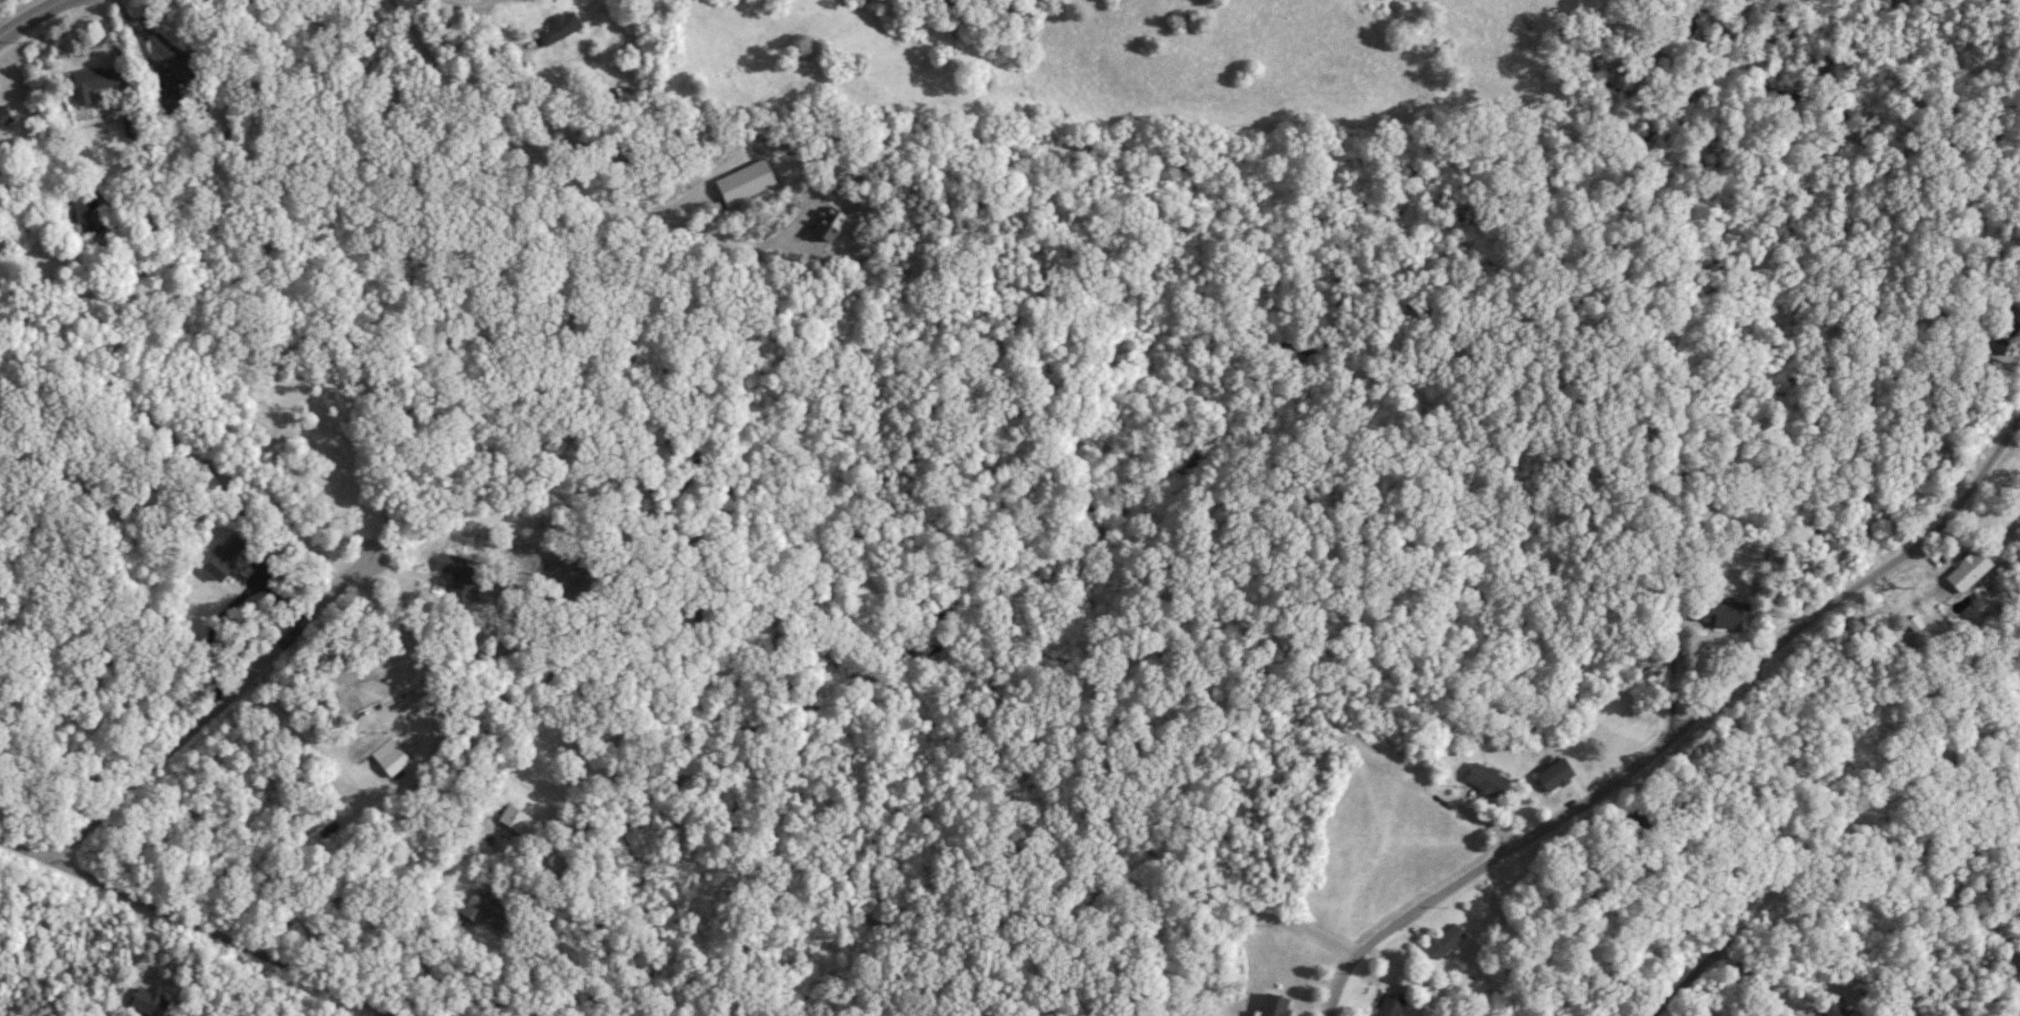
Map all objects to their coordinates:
road: (28, 15)
road: (106, 18)
road: (4, 20)
building: (560, 21)
road: (144, 40)
building: (186, 60)
building: (95, 77)
building: (174, 100)
building: (4, 110)
road: (505, 125)
building: (747, 178)
road: (806, 181)
building: (2004, 332)
road: (2016, 356)
building: (228, 557)
building: (1964, 571)
building: (462, 573)
road: (230, 601)
building: (1730, 616)
road: (1663, 627)
road: (1674, 650)
road: (214, 706)
road: (1684, 731)
building: (393, 756)
building: (1558, 774)
building: (1491, 779)
road: (390, 785)
building: (517, 817)
road: (1487, 820)
building: (1637, 822)
road: (497, 830)
road: (1825, 841)
road: (1939, 899)
building: (488, 909)
road: (194, 924)
road: (1302, 924)
road: (457, 933)
building: (1448, 939)
road: (143, 951)
road: (1410, 969)
road: (1753, 985)
building: (150, 1002)
building: (1277, 1005)
building: (1394, 1006)
building: (1838, 1009)

